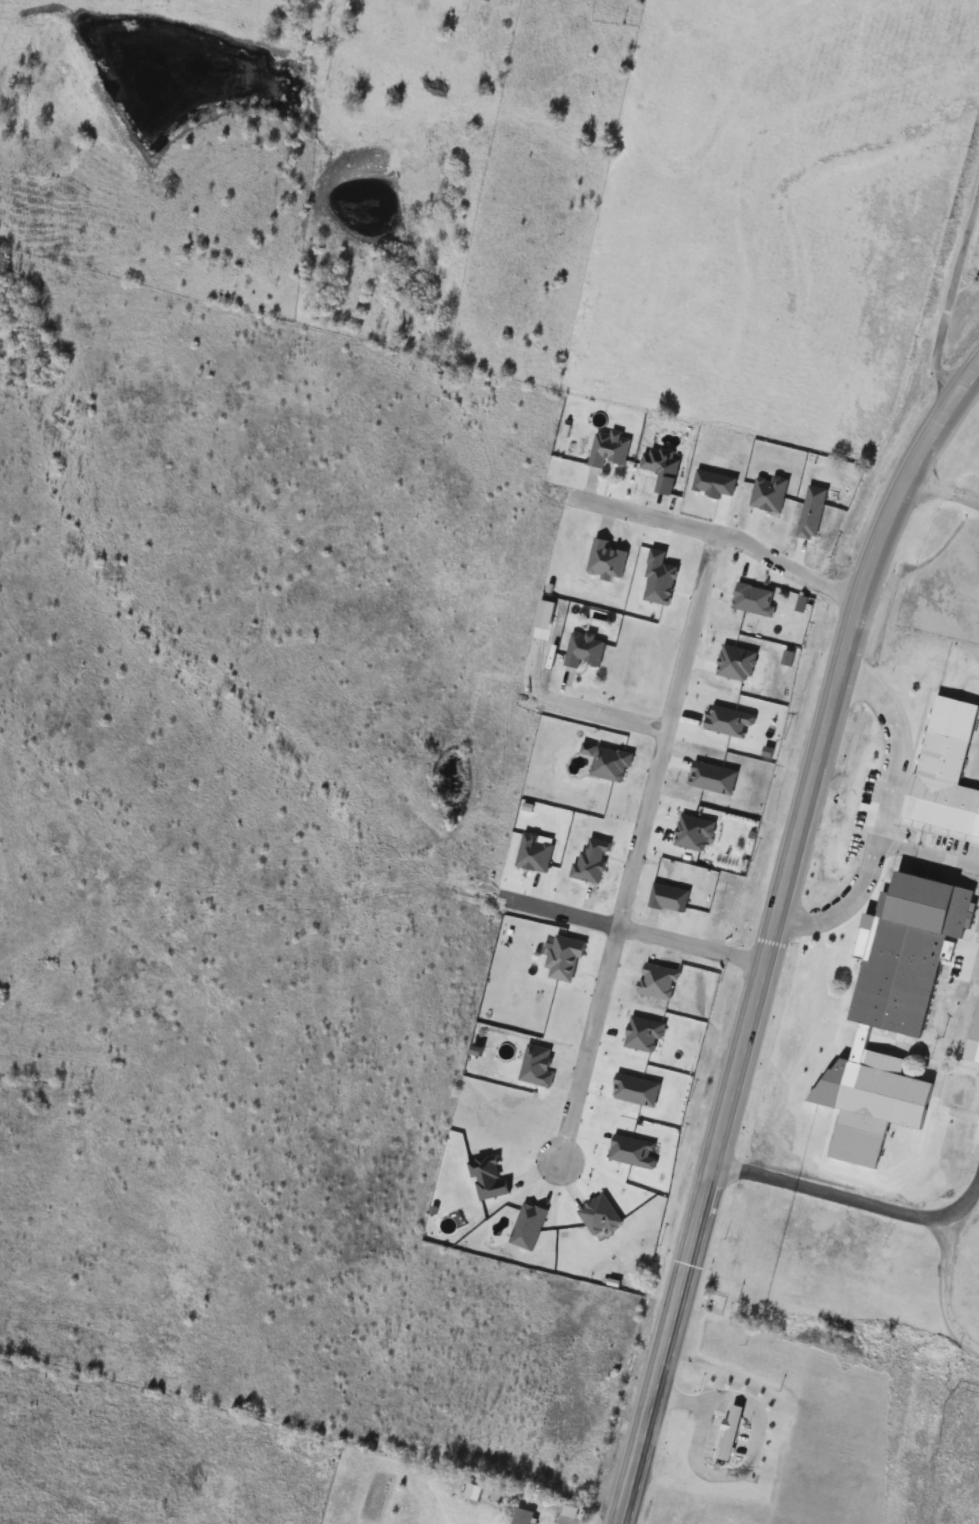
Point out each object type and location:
road: (952, 296)
building: (610, 449)
road: (935, 485)
road: (969, 498)
road: (719, 534)
building: (608, 561)
building: (755, 600)
building: (586, 651)
road: (606, 715)
road: (904, 741)
building: (612, 765)
building: (946, 769)
road: (638, 850)
road: (932, 852)
building: (593, 860)
road: (844, 903)
road: (629, 929)
road: (771, 931)
building: (566, 958)
building: (892, 1012)
building: (974, 1042)
building: (539, 1066)
road: (754, 1173)
road: (967, 1202)
road: (872, 1205)
road: (949, 1288)
building: (731, 1431)
road: (752, 1447)
building: (523, 1516)

